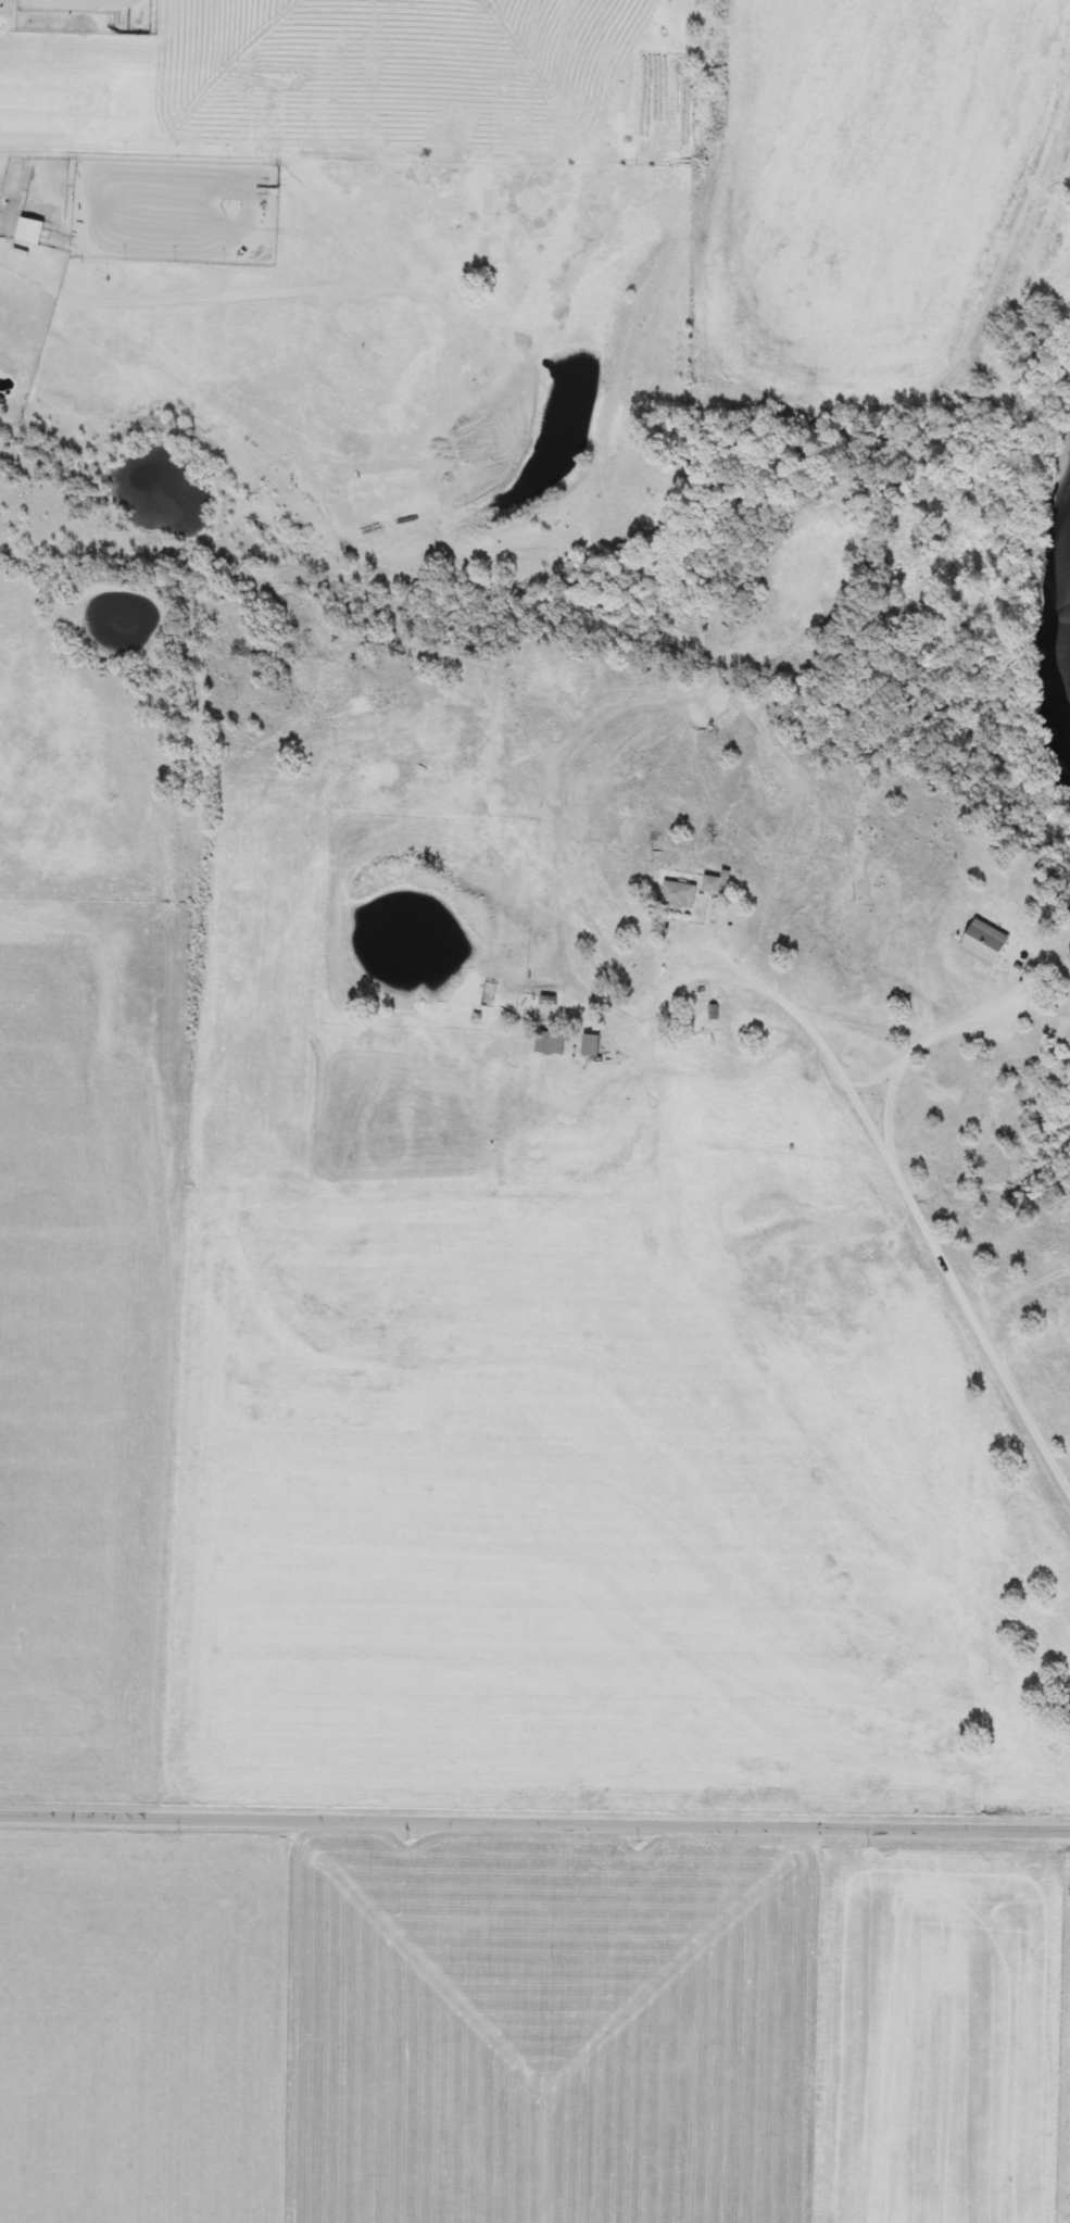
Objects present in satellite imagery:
building: (33, 231)
building: (715, 884)
building: (680, 896)
building: (987, 944)
building: (490, 995)
road: (910, 1041)
building: (550, 1042)
building: (593, 1045)
road: (907, 1197)
road: (534, 1831)

